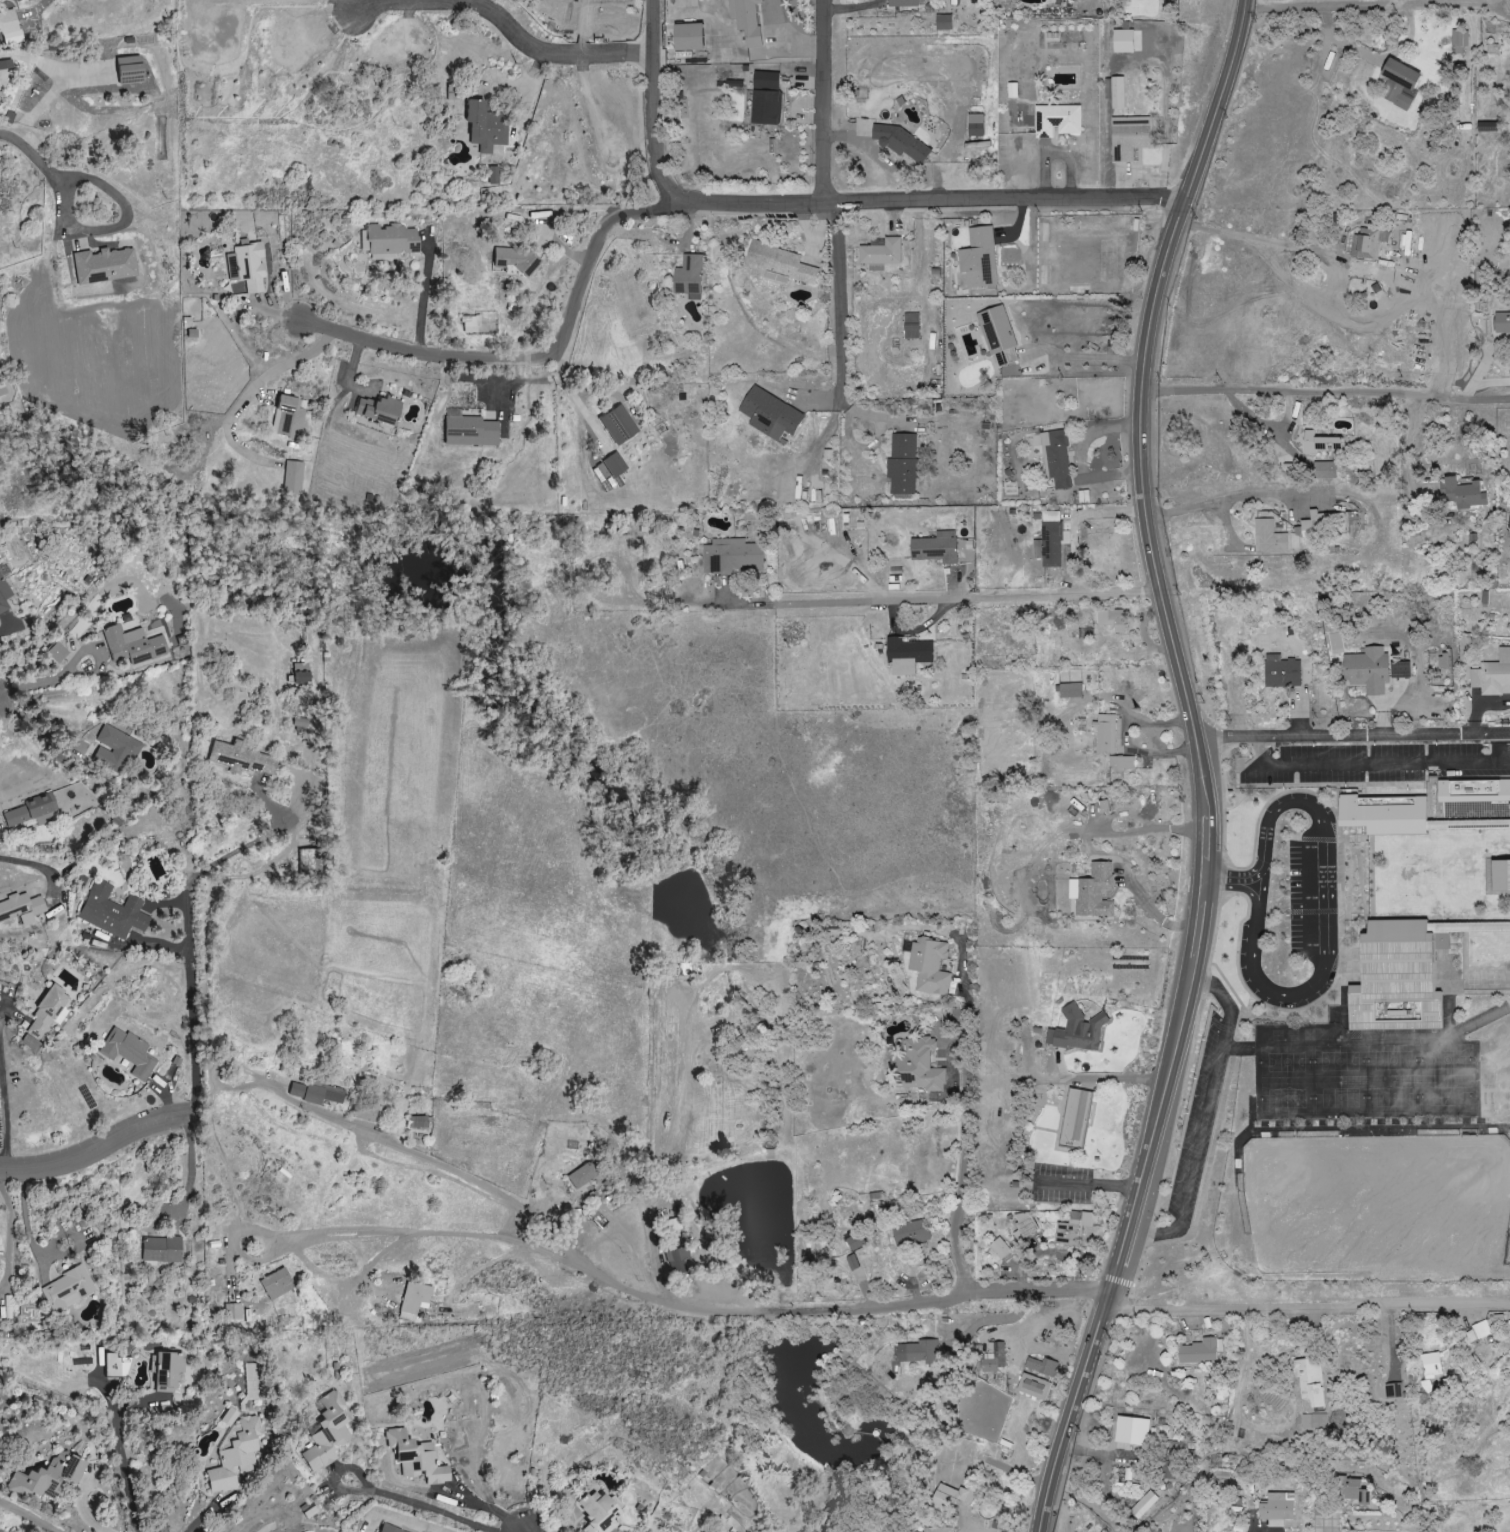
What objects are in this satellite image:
building: (902, 3)
road: (1369, 7)
road: (1498, 12)
building: (745, 20)
building: (943, 22)
road: (503, 24)
building: (9, 26)
building: (688, 37)
building: (1459, 38)
building: (1122, 41)
road: (1371, 57)
building: (128, 69)
building: (765, 80)
building: (1399, 83)
building: (1011, 90)
building: (1116, 93)
road: (822, 102)
building: (765, 107)
building: (1056, 120)
building: (486, 124)
building: (975, 125)
building: (863, 128)
building: (1128, 137)
road: (1286, 141)
building: (901, 143)
road: (31, 155)
building: (494, 174)
road: (827, 204)
road: (123, 223)
building: (390, 239)
building: (1368, 243)
building: (880, 254)
building: (383, 256)
building: (978, 258)
building: (513, 260)
building: (779, 262)
building: (104, 265)
building: (247, 266)
road: (1348, 266)
building: (688, 277)
road: (1155, 290)
road: (422, 294)
road: (836, 298)
road: (1319, 308)
building: (1502, 323)
building: (471, 324)
building: (910, 326)
building: (998, 336)
road: (1487, 356)
road: (534, 359)
road: (1083, 360)
road: (290, 364)
building: (1, 381)
road: (1490, 382)
road: (1465, 391)
road: (1325, 394)
building: (376, 409)
building: (769, 414)
building: (289, 417)
building: (619, 424)
building: (469, 429)
building: (1319, 443)
road: (1409, 446)
road: (1080, 457)
building: (1056, 458)
building: (615, 464)
building: (901, 465)
building: (1324, 470)
building: (602, 473)
building: (293, 477)
building: (1461, 494)
road: (1226, 496)
road: (1074, 524)
building: (1508, 525)
building: (1269, 538)
building: (1048, 541)
building: (934, 548)
building: (731, 556)
building: (4, 595)
road: (942, 602)
building: (1112, 619)
road: (5, 625)
building: (136, 643)
building: (56, 652)
road: (99, 655)
building: (906, 655)
building: (1442, 662)
road: (1175, 665)
building: (1372, 670)
building: (1281, 672)
building: (1493, 675)
road: (35, 682)
building: (1070, 690)
road: (27, 724)
road: (1351, 734)
road: (1506, 748)
building: (115, 750)
building: (240, 756)
building: (1122, 764)
parking lot: (1377, 764)
road: (1367, 766)
building: (1474, 799)
building: (1103, 807)
road: (1205, 808)
building: (31, 811)
building: (1383, 817)
building: (1480, 825)
road: (1320, 828)
road: (42, 867)
building: (1500, 876)
road: (1230, 881)
building: (1092, 892)
building: (22, 908)
building: (112, 912)
road: (188, 923)
road: (1199, 931)
building: (929, 967)
road: (1251, 976)
building: (1397, 978)
building: (48, 1014)
building: (1077, 1031)
building: (30, 1044)
building: (128, 1052)
building: (918, 1066)
road: (1107, 1080)
road: (5, 1090)
building: (313, 1094)
building: (368, 1107)
road: (1156, 1110)
parking lot: (1198, 1119)
building: (1075, 1120)
building: (418, 1122)
road: (1203, 1123)
road: (960, 1142)
road: (99, 1155)
road: (192, 1165)
building: (582, 1175)
road: (1086, 1183)
building: (1086, 1219)
road: (28, 1222)
building: (1024, 1226)
building: (1067, 1231)
building: (910, 1233)
road: (408, 1234)
road: (11, 1238)
building: (856, 1242)
building: (161, 1249)
building: (999, 1249)
building: (678, 1261)
road: (1115, 1265)
building: (276, 1284)
building: (68, 1289)
building: (415, 1300)
building: (233, 1307)
road: (671, 1307)
road: (1305, 1307)
building: (424, 1317)
road: (989, 1317)
building: (1477, 1332)
building: (1198, 1351)
building: (918, 1352)
building: (993, 1357)
building: (1430, 1364)
building: (116, 1365)
building: (1041, 1366)
building: (167, 1368)
building: (252, 1381)
building: (1310, 1381)
building: (1033, 1386)
building: (1426, 1386)
building: (943, 1400)
road: (1069, 1410)
building: (229, 1416)
building: (1313, 1421)
building: (1131, 1430)
building: (326, 1433)
building: (235, 1457)
building: (415, 1457)
road: (119, 1461)
road: (335, 1475)
building: (48, 1476)
building: (1354, 1490)
building: (951, 1496)
building: (1143, 1505)
building: (1276, 1509)
road: (83, 1511)
road: (430, 1511)
building: (599, 1511)
road: (30, 1515)
road: (202, 1517)
building: (389, 1528)
building: (937, 1529)

